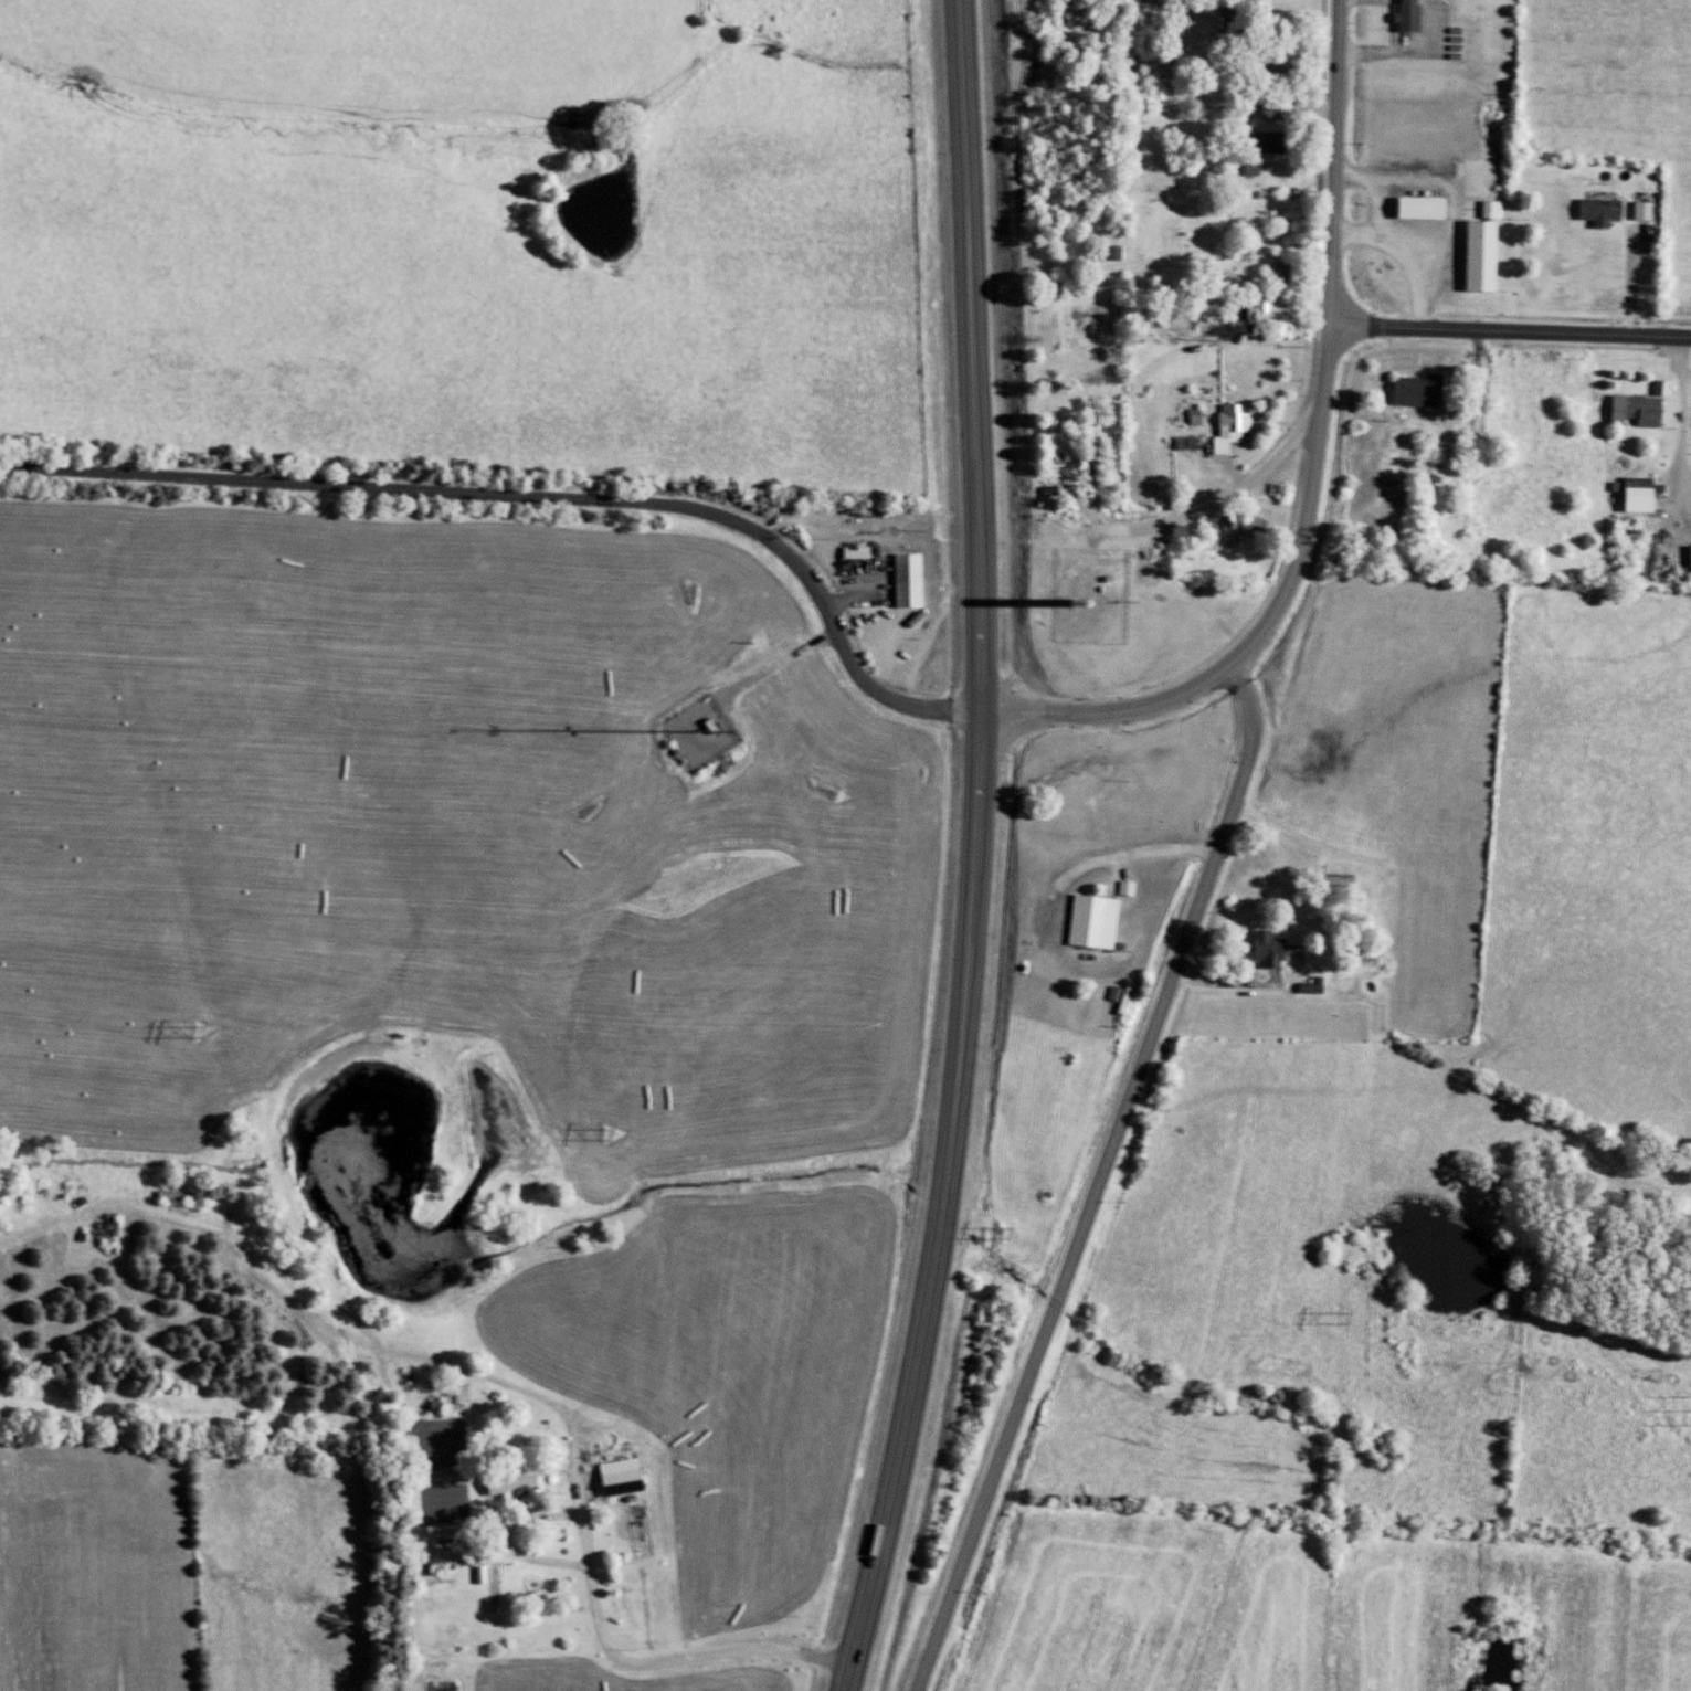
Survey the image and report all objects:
building: (1415, 15)
road: (1407, 54)
building: (1278, 67)
building: (1269, 99)
building: (1279, 114)
building: (1278, 141)
road: (1336, 162)
building: (1259, 167)
road: (1458, 201)
building: (1429, 207)
building: (1650, 210)
building: (1608, 211)
building: (1490, 250)
road: (1215, 269)
building: (1275, 311)
road: (1511, 330)
building: (1669, 387)
building: (1425, 389)
building: (1645, 410)
road: (1684, 423)
building: (1238, 426)
building: (1196, 442)
building: (1099, 447)
road: (1246, 484)
building: (1647, 495)
road: (536, 500)
road: (974, 503)
building: (1250, 524)
building: (864, 551)
road: (1110, 563)
building: (916, 580)
road: (1268, 628)
building: (1346, 878)
building: (1134, 887)
building: (1101, 921)
building: (1276, 949)
building: (1320, 985)
power tower: (194, 1037)
power tower: (606, 1140)
road: (1103, 1175)
power tower: (1002, 1238)
power tower: (1339, 1320)
road: (915, 1351)
building: (628, 1475)
building: (519, 1479)

